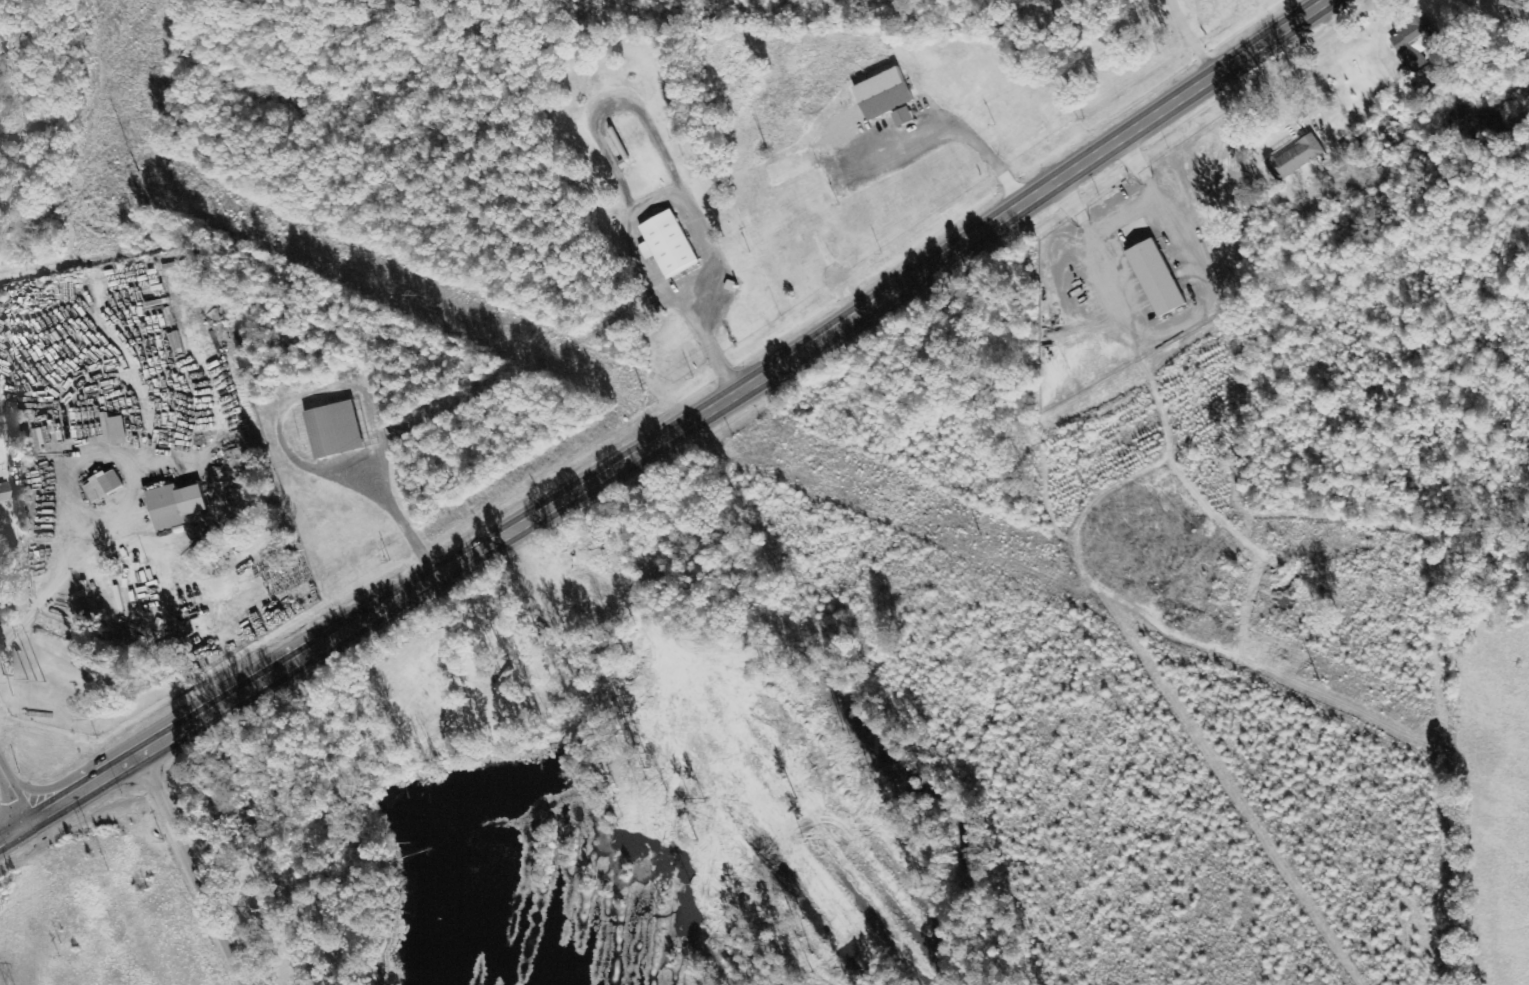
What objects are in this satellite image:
building: (1415, 42)
building: (882, 94)
building: (902, 117)
building: (1295, 158)
road: (1000, 217)
building: (666, 245)
building: (1155, 278)
building: (333, 430)
building: (117, 431)
building: (45, 438)
building: (102, 487)
building: (2, 494)
building: (174, 506)
road: (351, 628)
road: (14, 798)
road: (14, 832)
park: (271, 862)
road: (197, 870)

